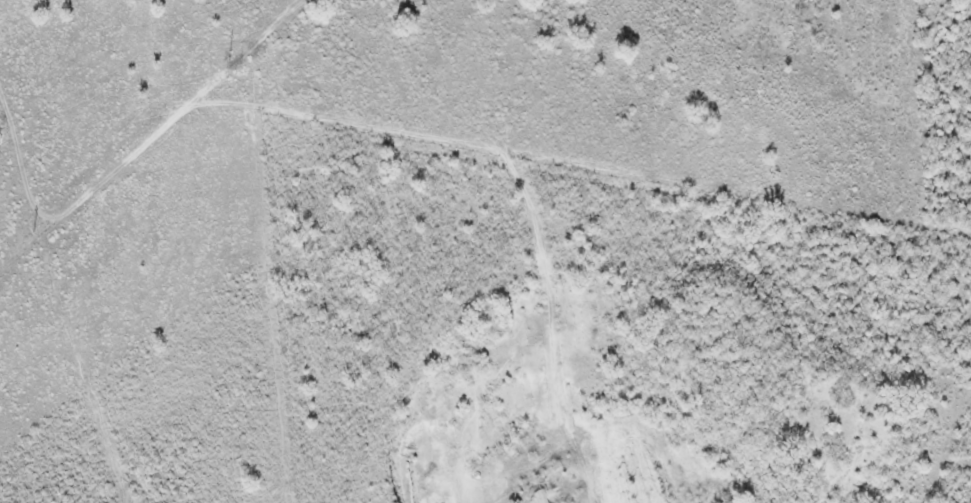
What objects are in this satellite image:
road: (155, 139)

